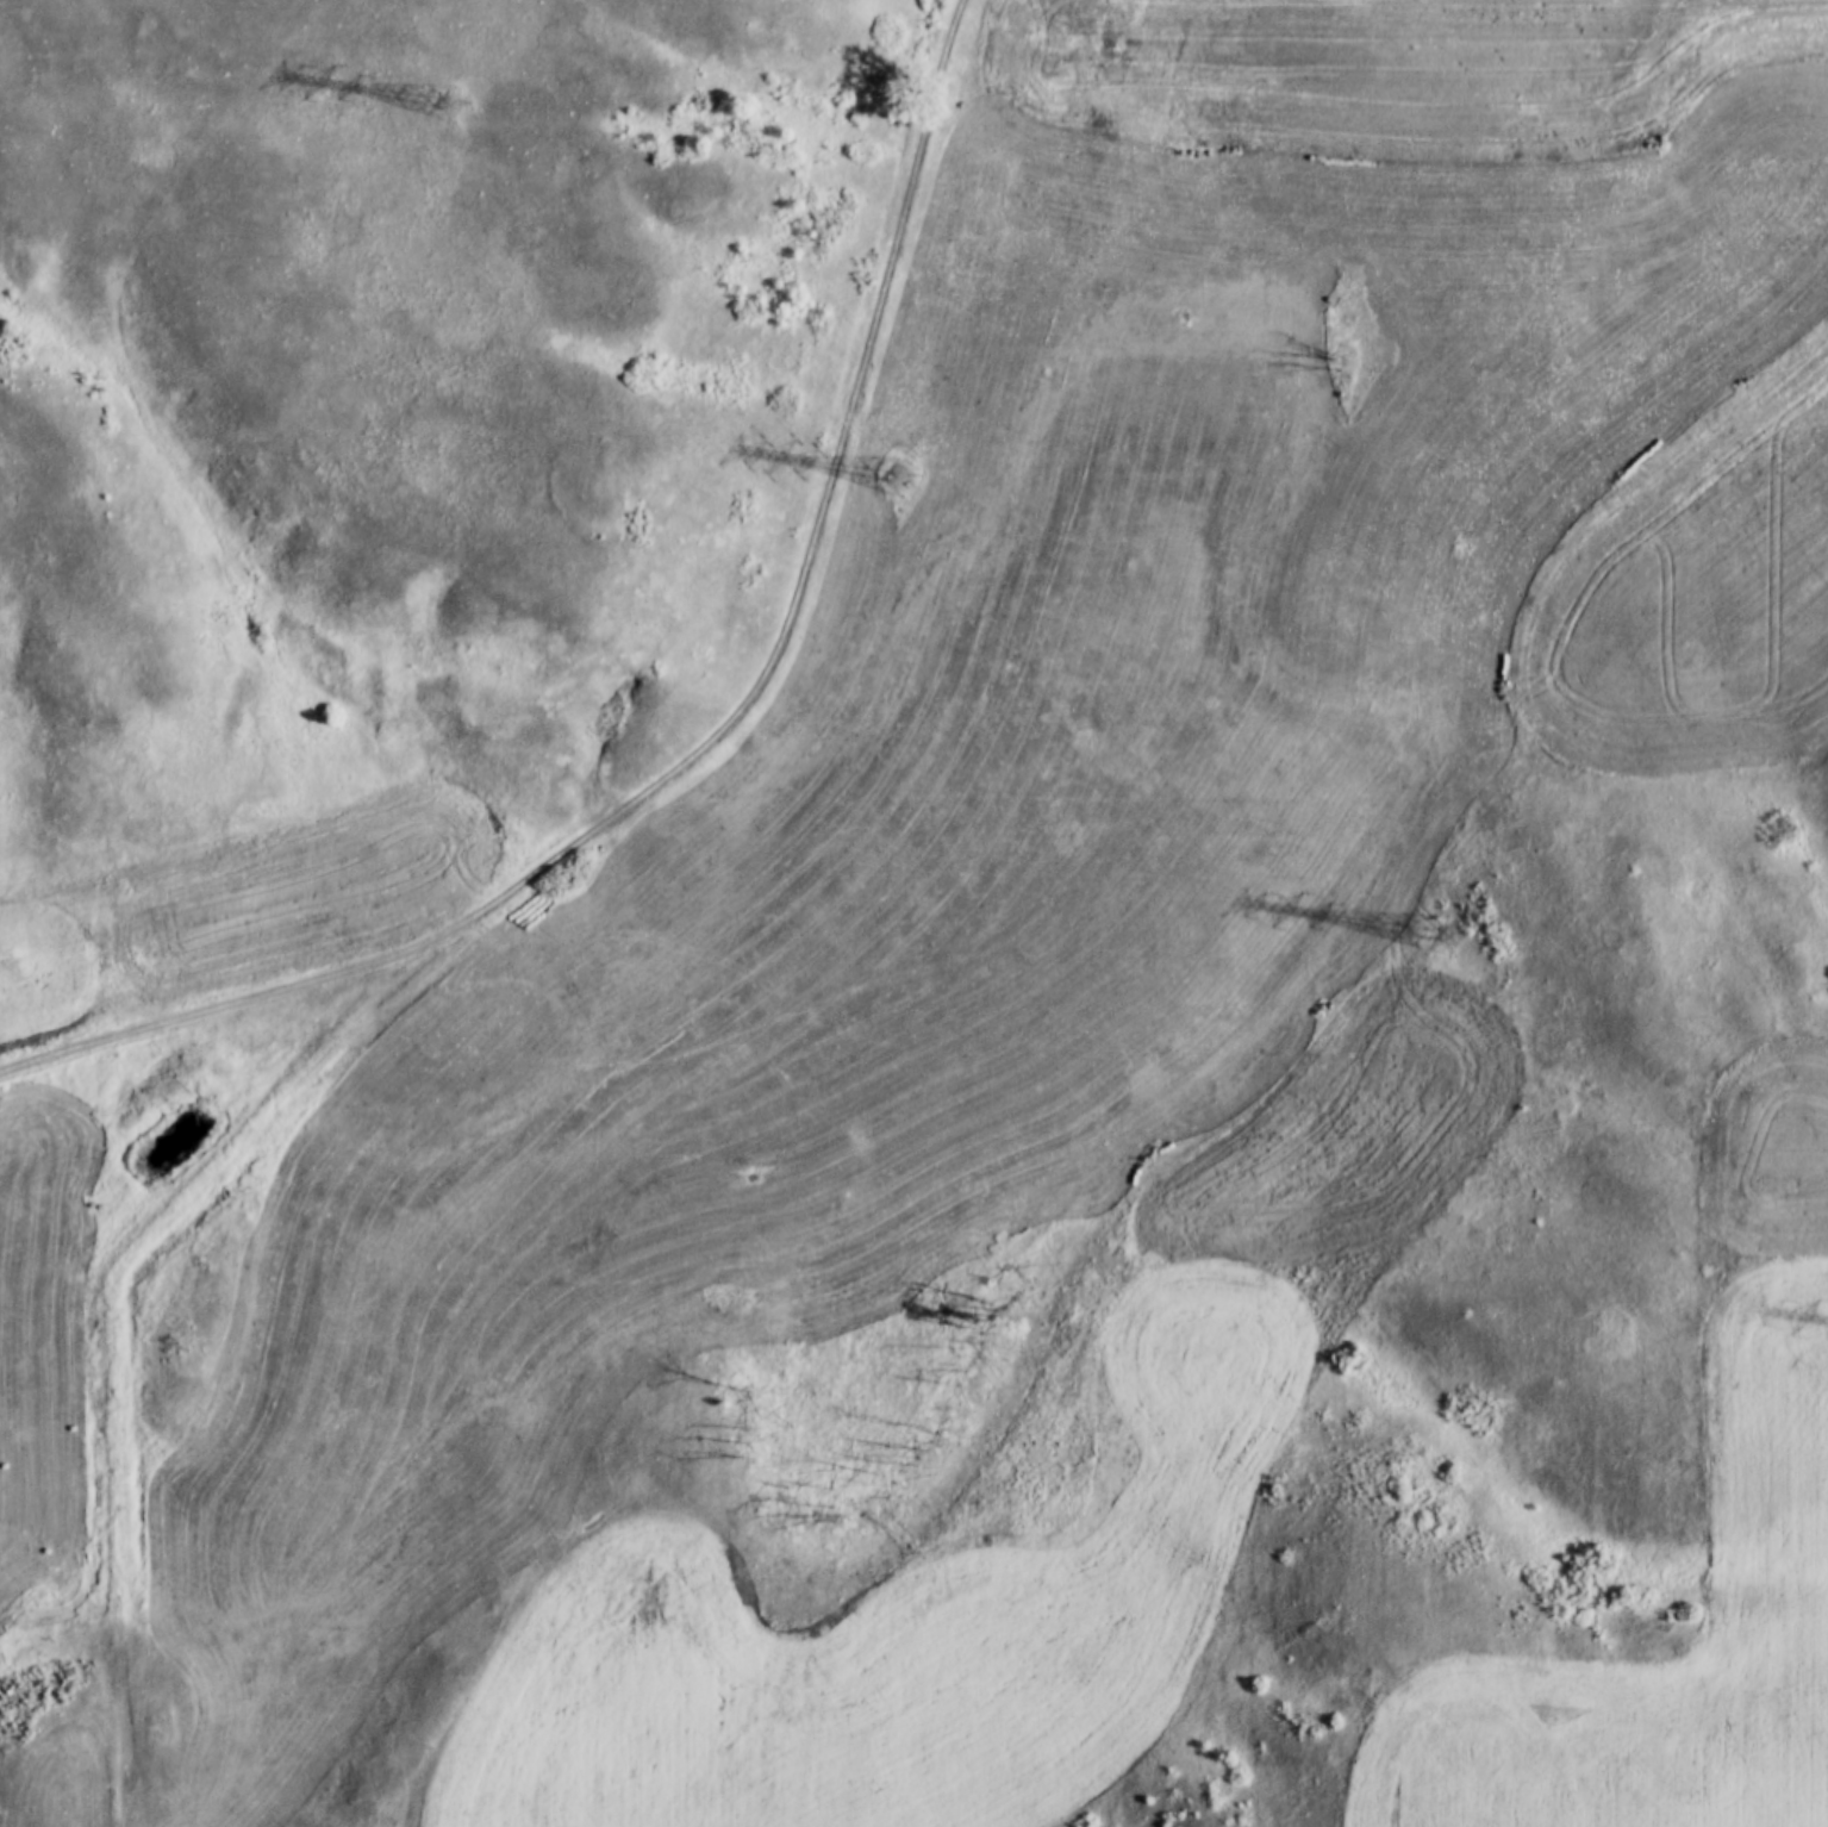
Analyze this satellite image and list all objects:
power tower: (461, 108)
power tower: (904, 475)
road: (717, 752)
power tower: (1459, 937)

